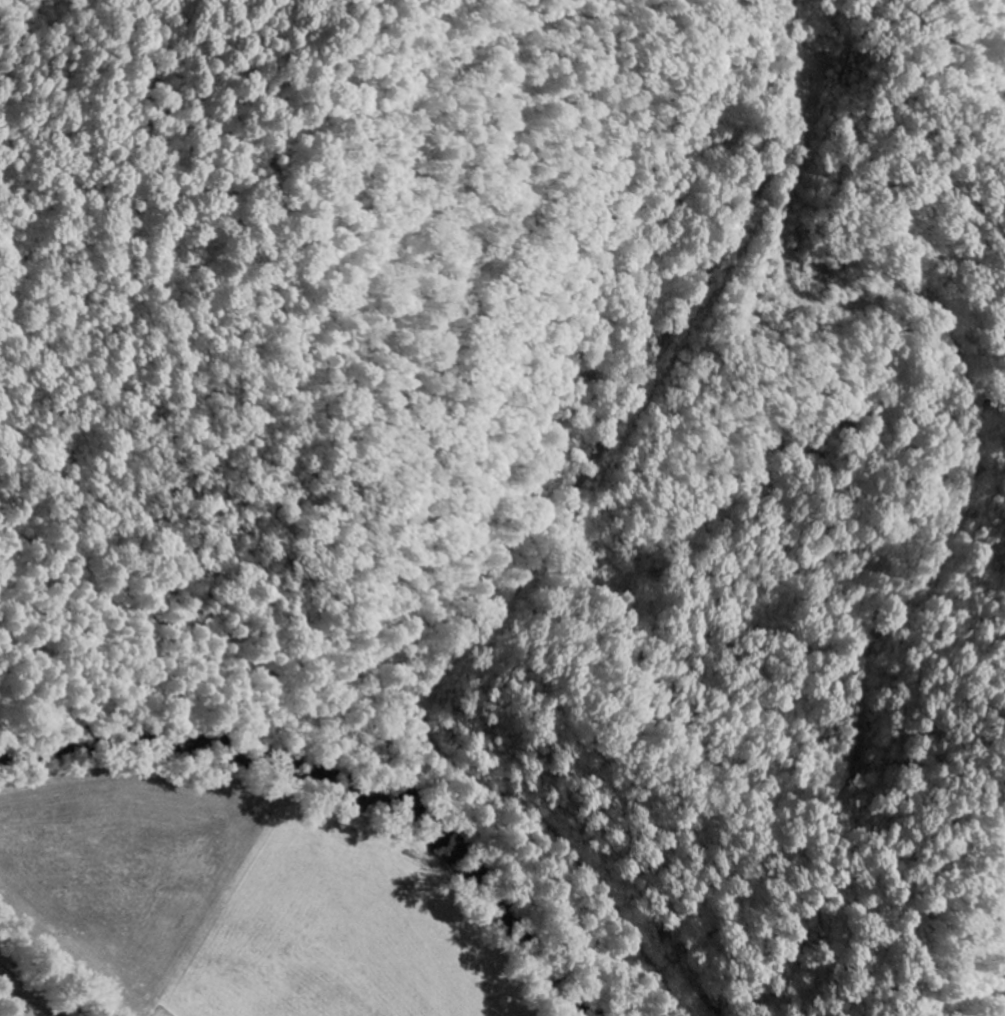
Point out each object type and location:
river: (342, 786)
road: (28, 992)

